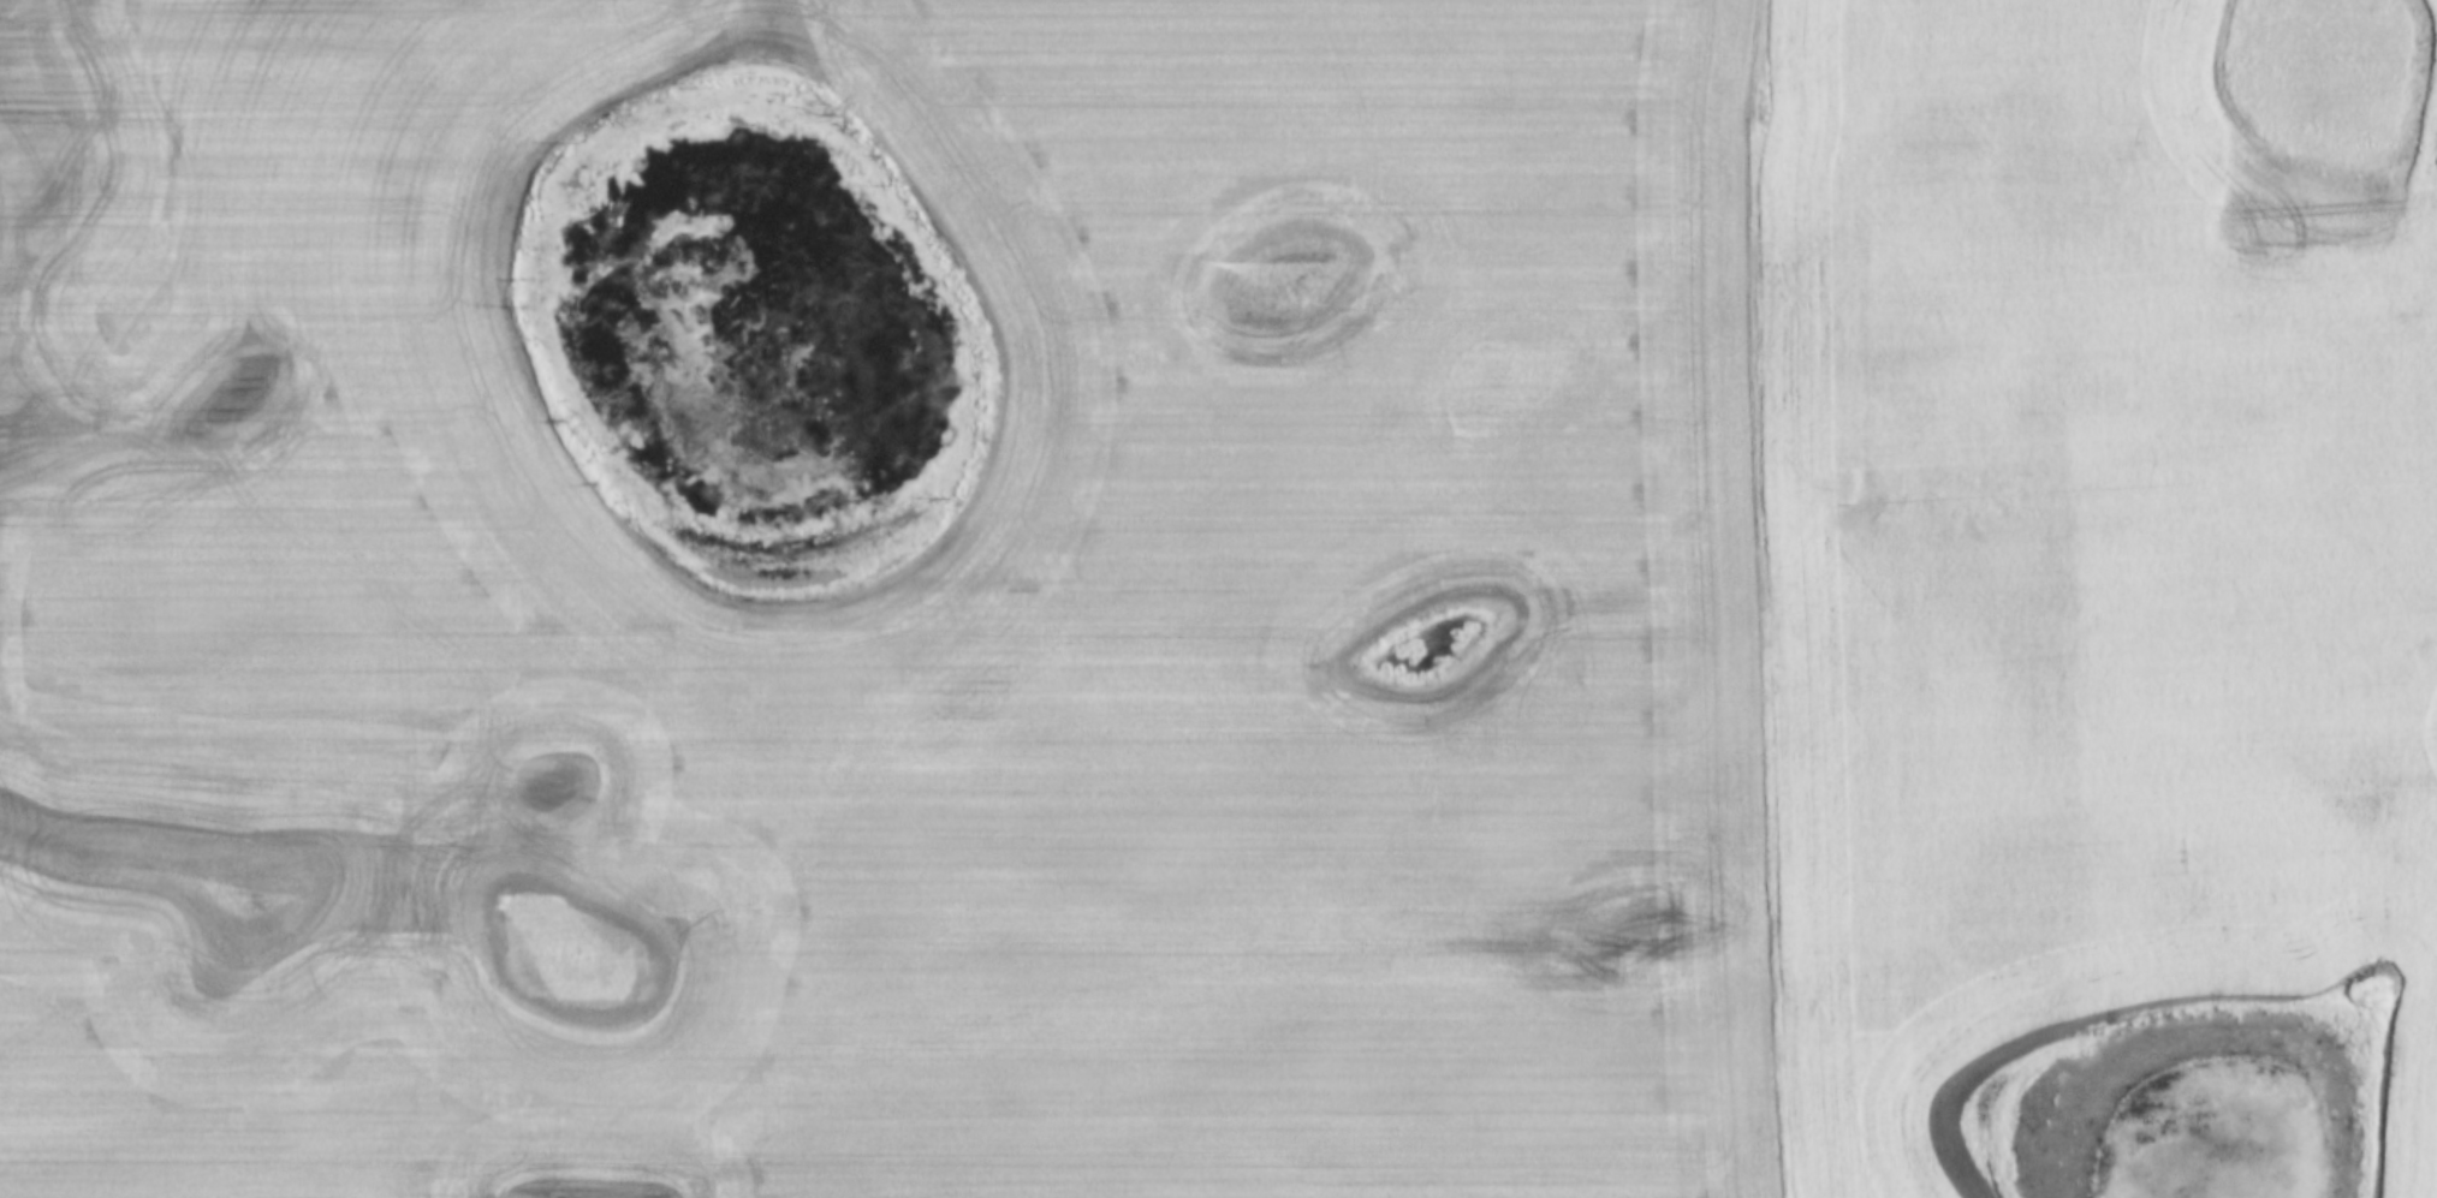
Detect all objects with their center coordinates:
road: (1766, 598)

